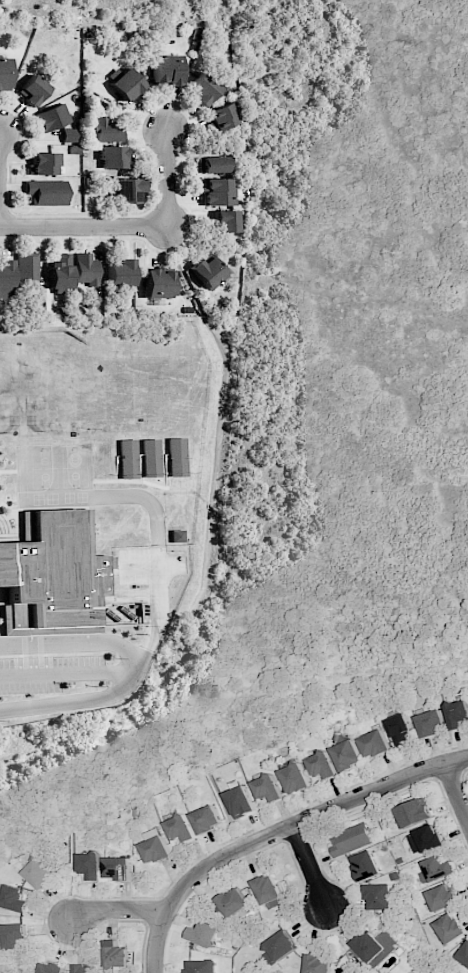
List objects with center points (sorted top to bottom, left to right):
building: (166, 70)
building: (4, 73)
building: (126, 85)
building: (203, 88)
building: (32, 89)
building: (222, 116)
building: (52, 117)
building: (104, 130)
building: (68, 135)
building: (112, 157)
building: (42, 164)
building: (212, 164)
road: (168, 178)
building: (125, 190)
building: (216, 191)
building: (45, 192)
building: (226, 221)
road: (84, 226)
building: (26, 268)
building: (84, 269)
building: (59, 273)
building: (120, 273)
building: (210, 273)
building: (5, 278)
building: (157, 284)
building: (176, 457)
building: (151, 458)
building: (128, 459)
building: (105, 460)
road: (153, 508)
building: (176, 536)
road: (142, 565)
building: (53, 576)
road: (73, 640)
road: (66, 674)
road: (123, 684)
building: (457, 714)
building: (431, 723)
building: (399, 729)
building: (375, 744)
building: (347, 755)
building: (322, 765)
building: (295, 778)
building: (268, 789)
road: (455, 792)
building: (240, 802)
building: (415, 813)
building: (207, 819)
building: (181, 828)
road: (278, 830)
building: (351, 839)
building: (425, 839)
building: (156, 847)
road: (308, 864)
building: (91, 865)
building: (366, 866)
building: (118, 868)
building: (436, 870)
building: (40, 874)
building: (268, 891)
building: (379, 897)
building: (442, 897)
building: (15, 899)
building: (233, 902)
road: (117, 909)
building: (449, 928)
building: (204, 934)
building: (14, 937)
building: (281, 946)
building: (375, 947)
building: (115, 954)
building: (464, 955)
building: (318, 964)
building: (199, 966)
building: (50, 968)
building: (85, 969)

